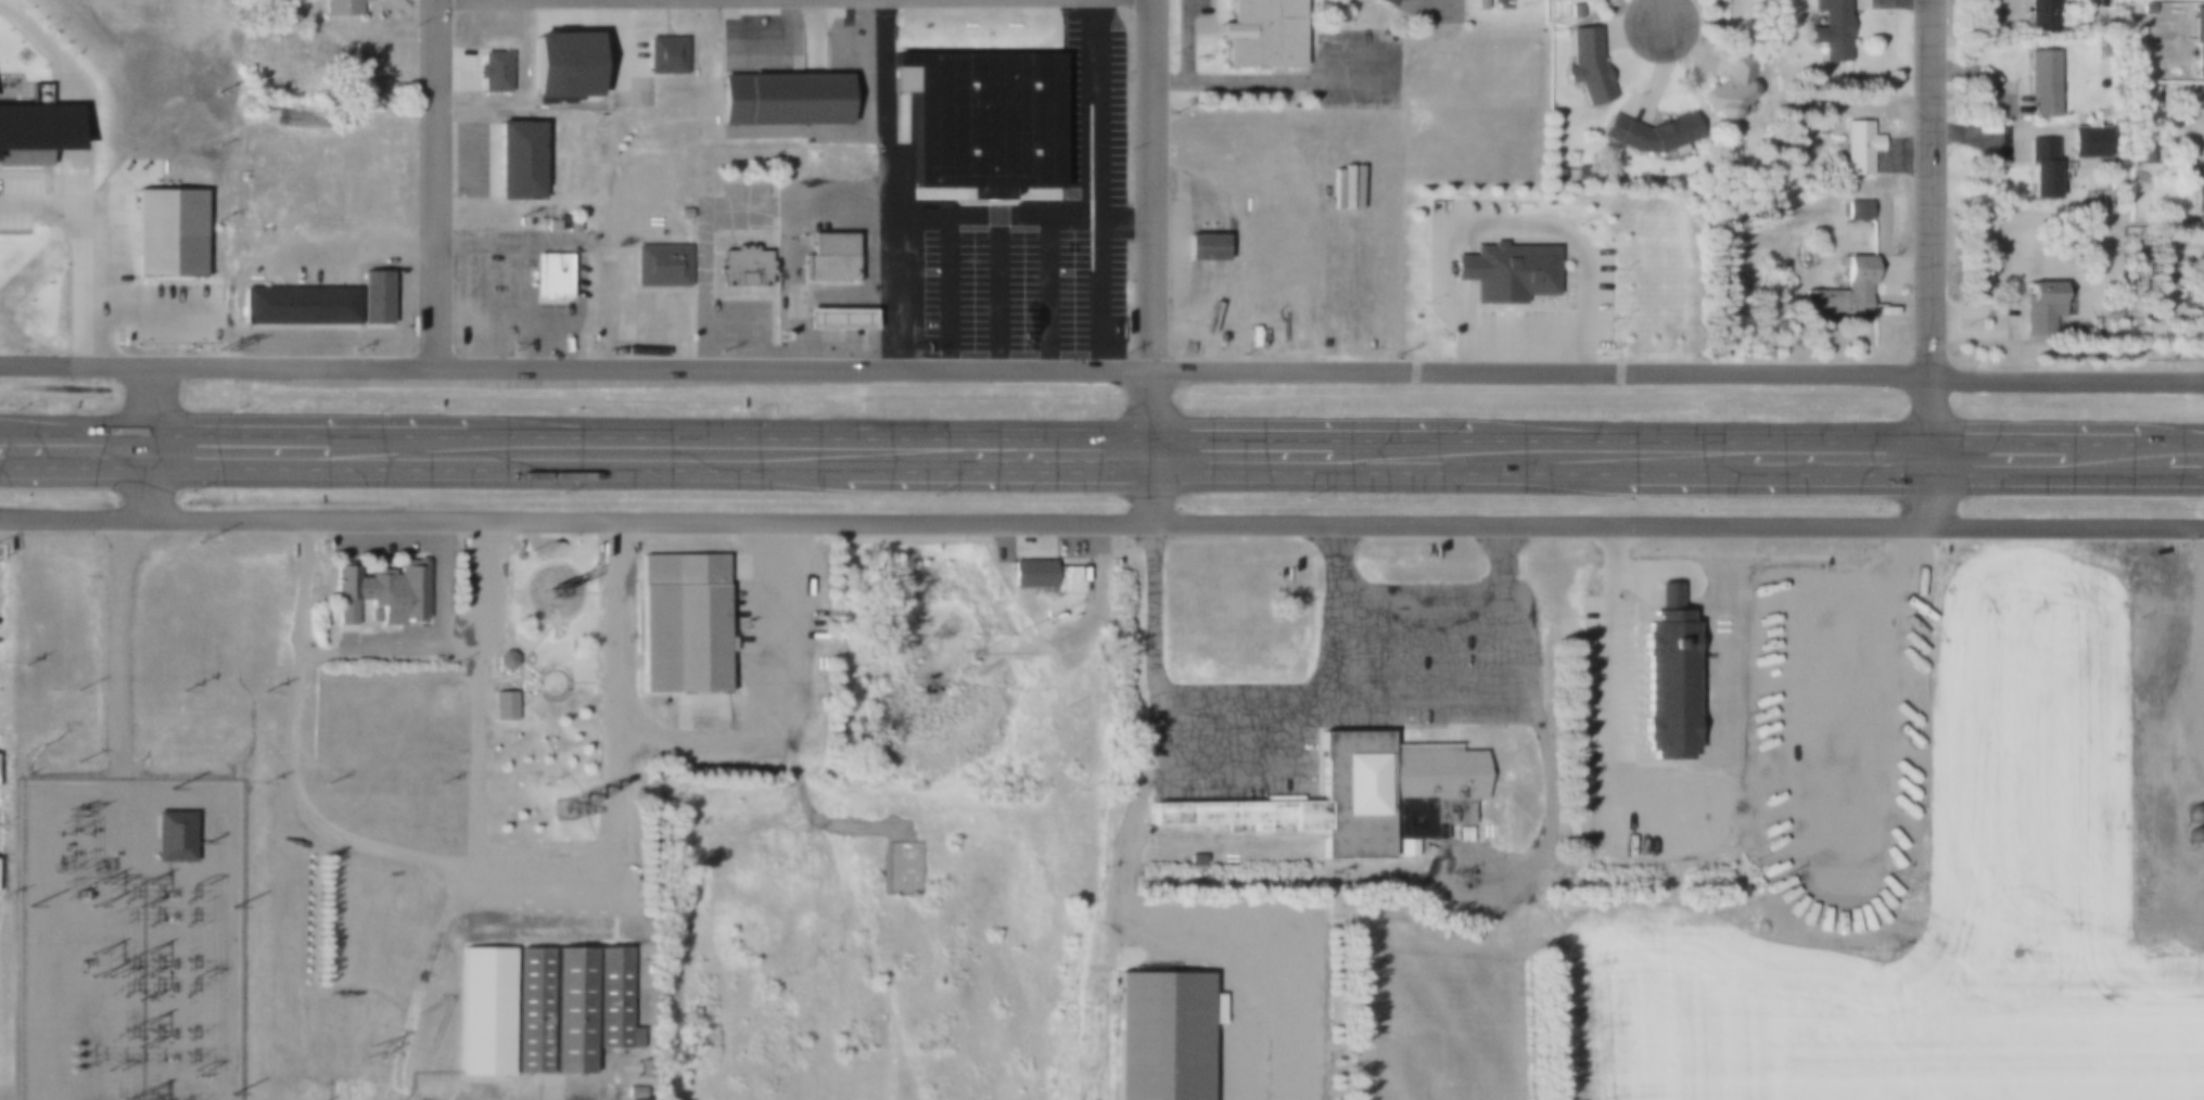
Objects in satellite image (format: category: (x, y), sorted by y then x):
building: (1377, 3)
building: (1479, 4)
building: (340, 7)
building: (2146, 9)
road: (1659, 12)
building: (2046, 13)
building: (1830, 30)
building: (1260, 34)
building: (2199, 38)
building: (664, 54)
building: (561, 65)
building: (1584, 67)
parking lot: (1358, 69)
building: (492, 71)
building: (2043, 82)
building: (1732, 88)
building: (781, 99)
building: (983, 119)
building: (36, 131)
building: (1648, 131)
building: (2089, 141)
building: (1860, 148)
building: (2149, 156)
building: (517, 161)
building: (2041, 168)
road: (434, 183)
road: (1151, 183)
building: (2197, 192)
building: (1856, 208)
building: (166, 223)
building: (571, 223)
building: (550, 226)
road: (1929, 235)
building: (1203, 247)
building: (828, 257)
building: (660, 265)
building: (741, 266)
building: (1504, 271)
building: (551, 278)
building: (374, 290)
building: (1840, 292)
building: (298, 299)
building: (2043, 306)
building: (837, 319)
road: (1095, 368)
road: (1101, 431)
road: (149, 440)
road: (1155, 445)
road: (1101, 468)
road: (1933, 498)
road: (1101, 522)
building: (1046, 575)
building: (381, 591)
building: (679, 624)
road: (2193, 640)
building: (2117, 643)
road: (117, 648)
building: (504, 660)
building: (1665, 677)
building: (502, 704)
road: (1322, 707)
building: (2037, 729)
building: (2152, 741)
building: (1455, 782)
building: (1333, 801)
building: (2191, 814)
silo: (2191, 814)
building: (174, 829)
building: (2190, 836)
silo: (2190, 836)
building: (1405, 848)
power substation: (903, 865)
road: (542, 875)
road: (1134, 921)
power substation: (129, 941)
road: (418, 982)
building: (608, 1000)
building: (485, 1010)
building: (531, 1010)
building: (569, 1010)
building: (1165, 1036)
building: (629, 1092)

